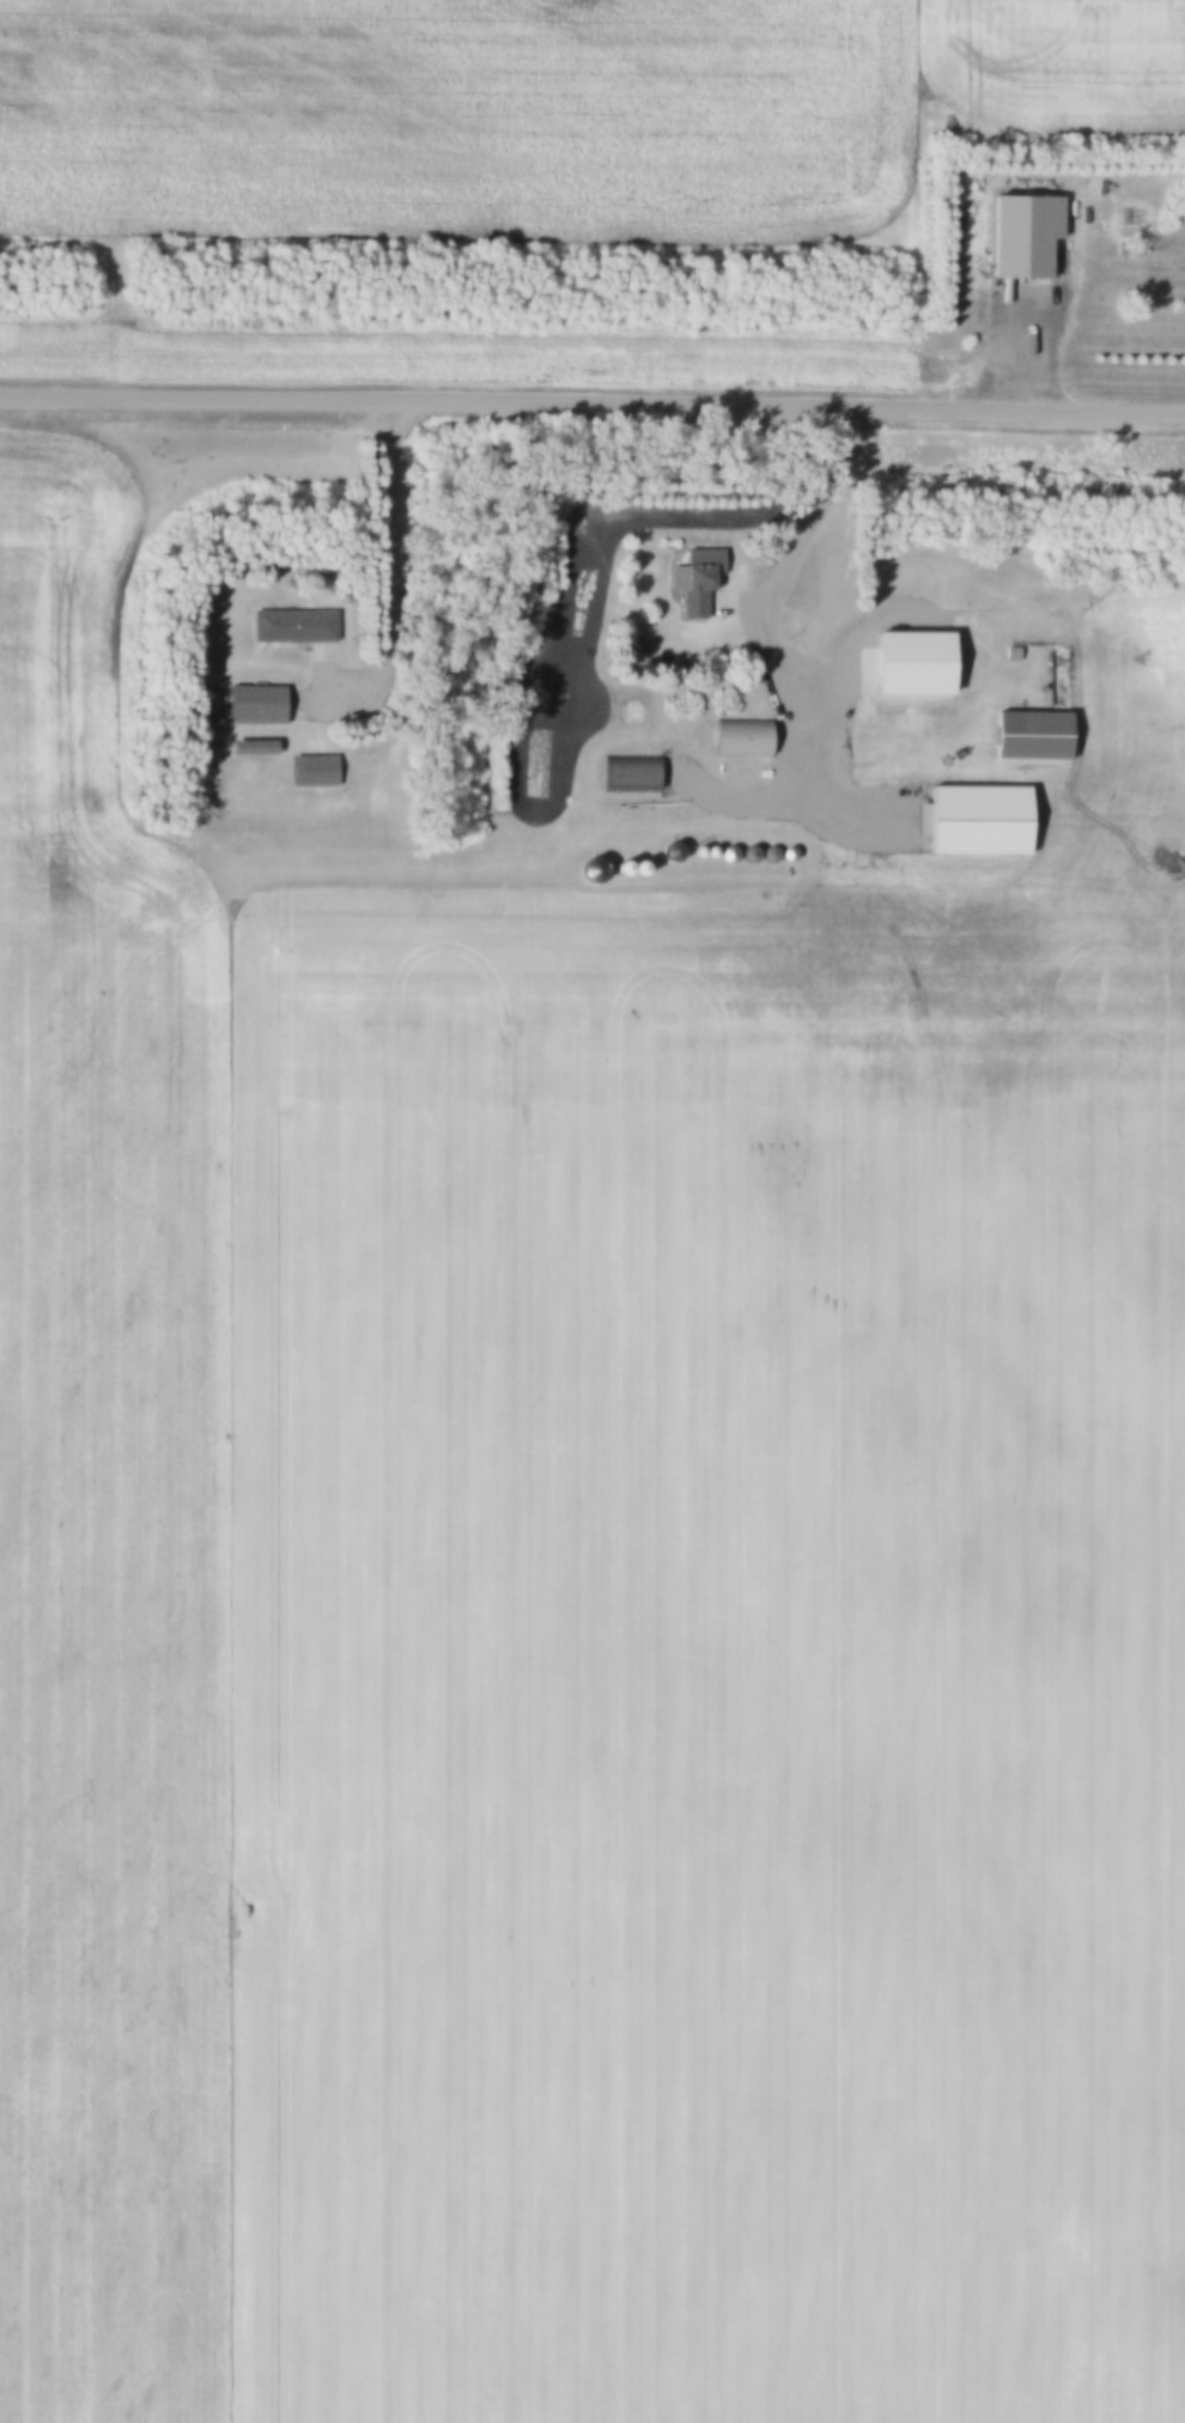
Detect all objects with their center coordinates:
building: (1025, 239)
road: (592, 400)
road: (402, 565)
building: (701, 584)
building: (286, 627)
road: (766, 638)
building: (903, 667)
building: (260, 708)
building: (743, 740)
building: (256, 749)
building: (317, 773)
building: (633, 776)
building: (982, 824)

